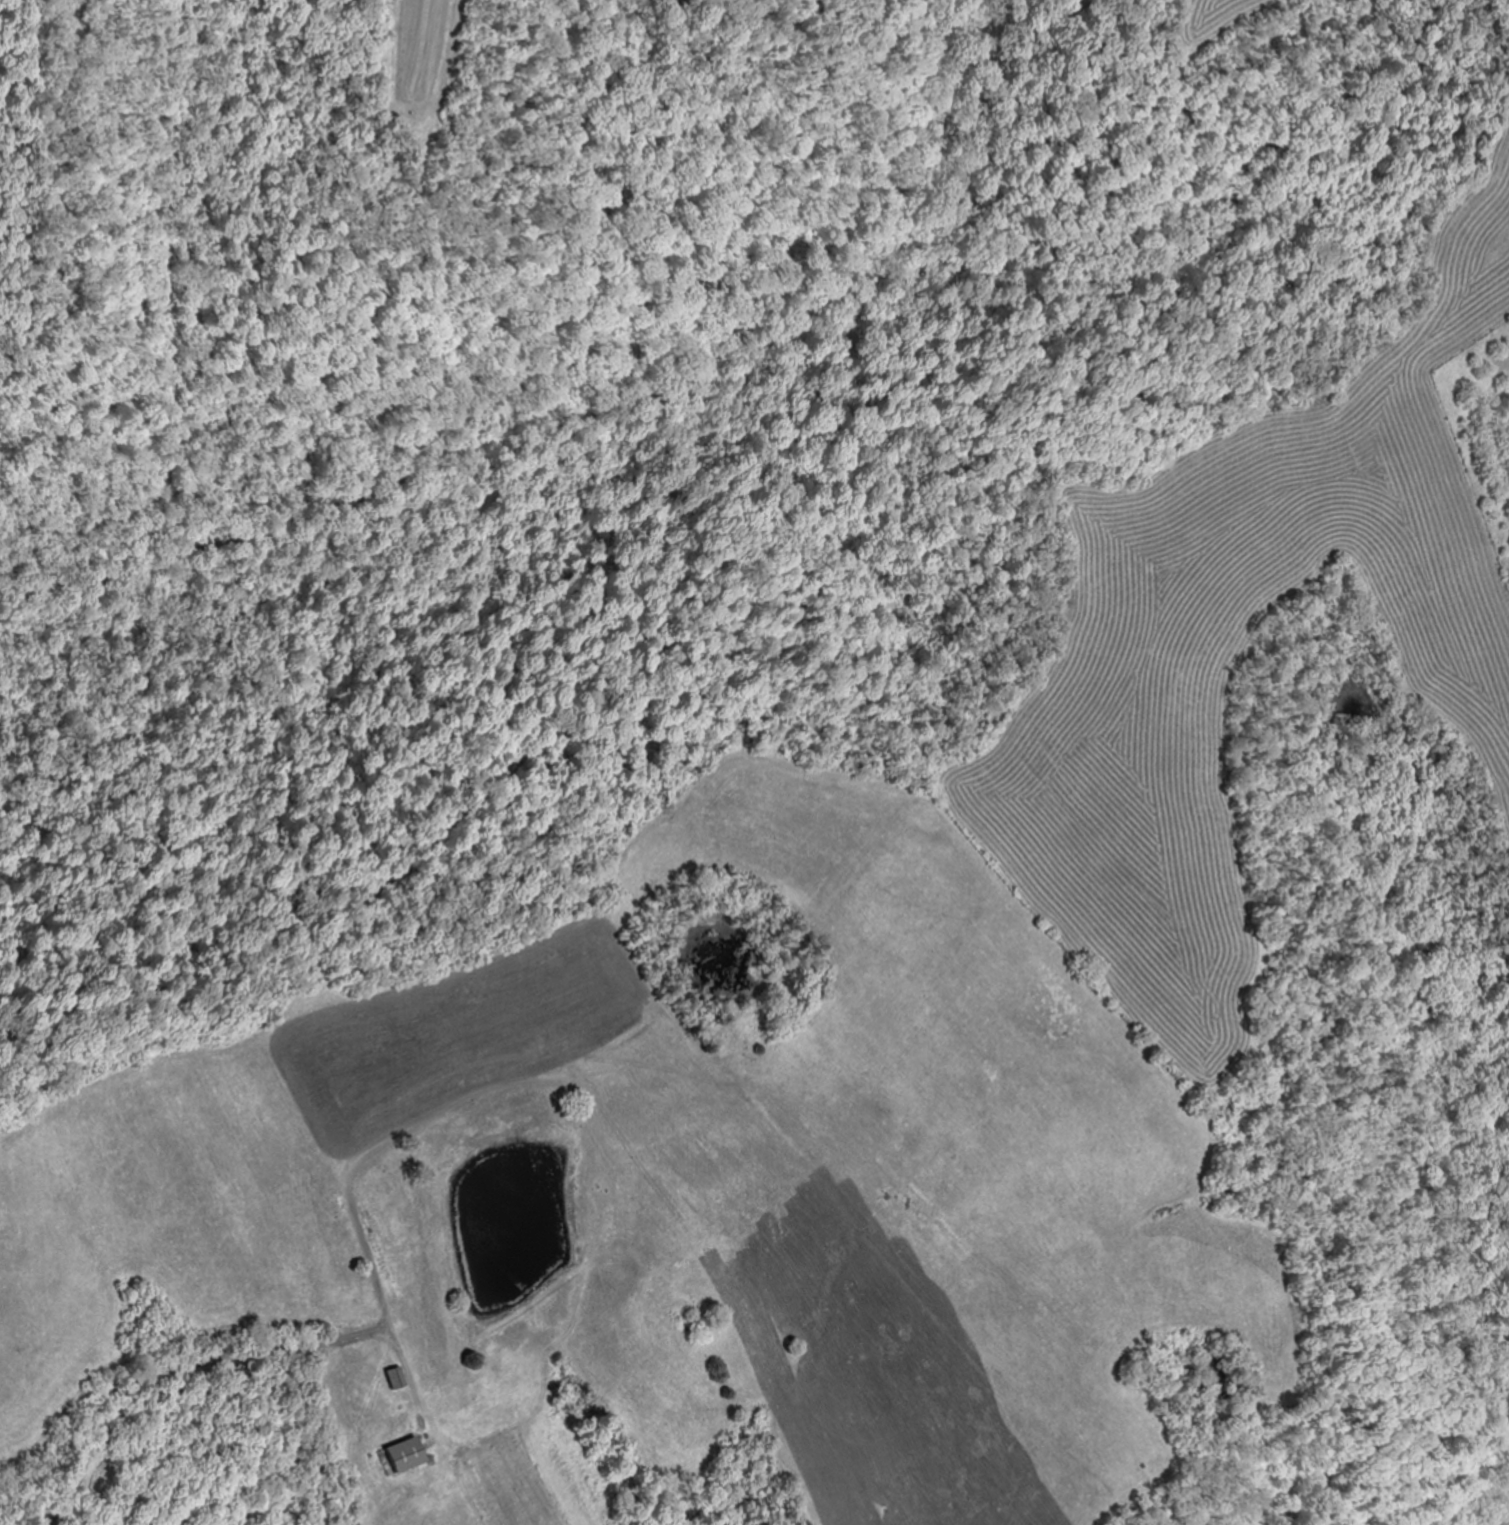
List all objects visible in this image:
road: (370, 1081)
building: (403, 1377)
building: (416, 1454)
building: (437, 1500)

